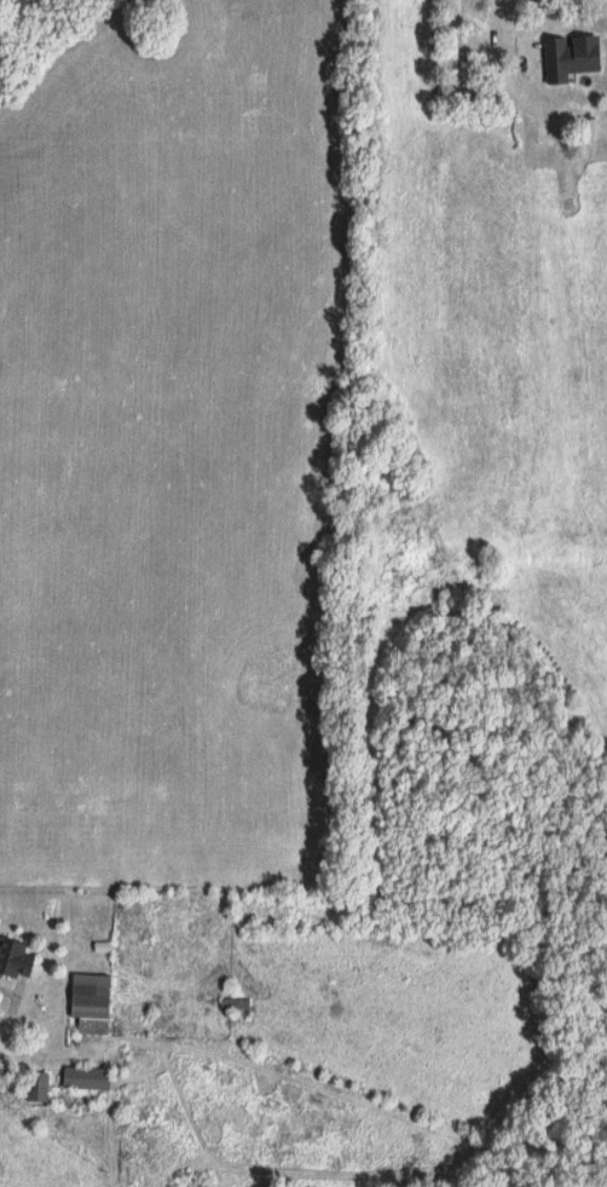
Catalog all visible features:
building: (568, 54)
building: (13, 957)
road: (15, 1001)
building: (88, 1002)
building: (83, 1077)

